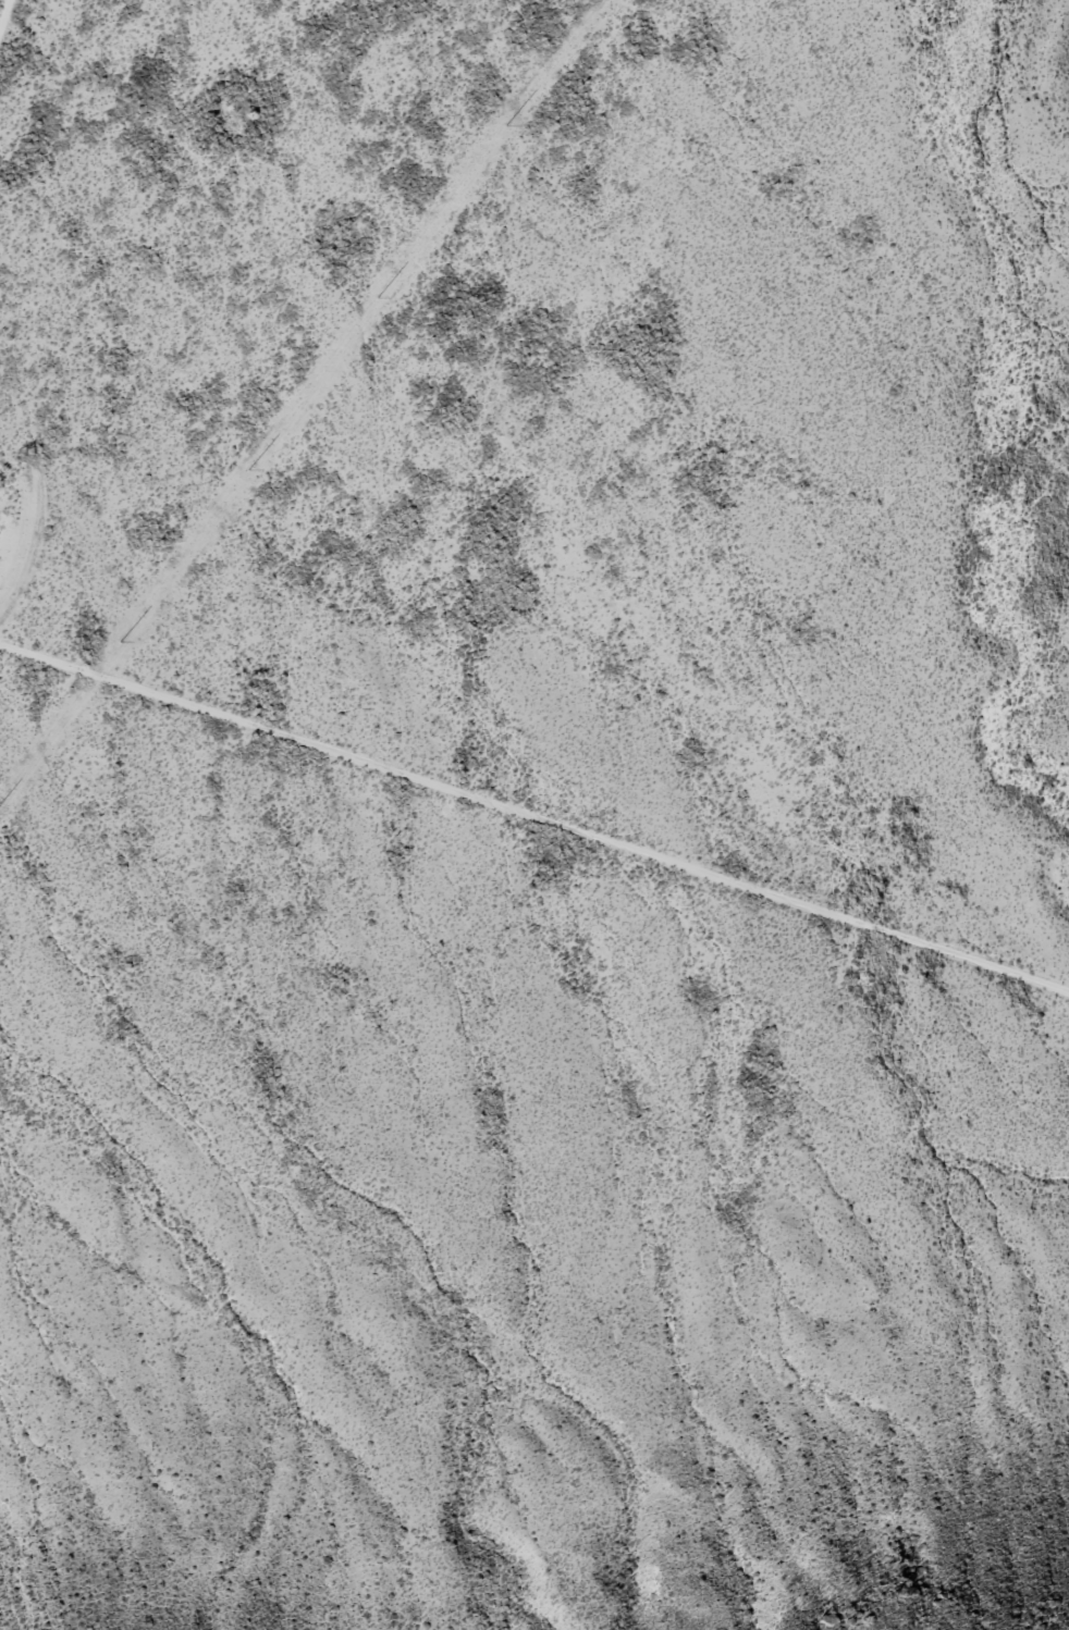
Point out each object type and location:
power tower: (505, 127)
power tower: (378, 297)
power tower: (249, 471)
power tower: (121, 642)

